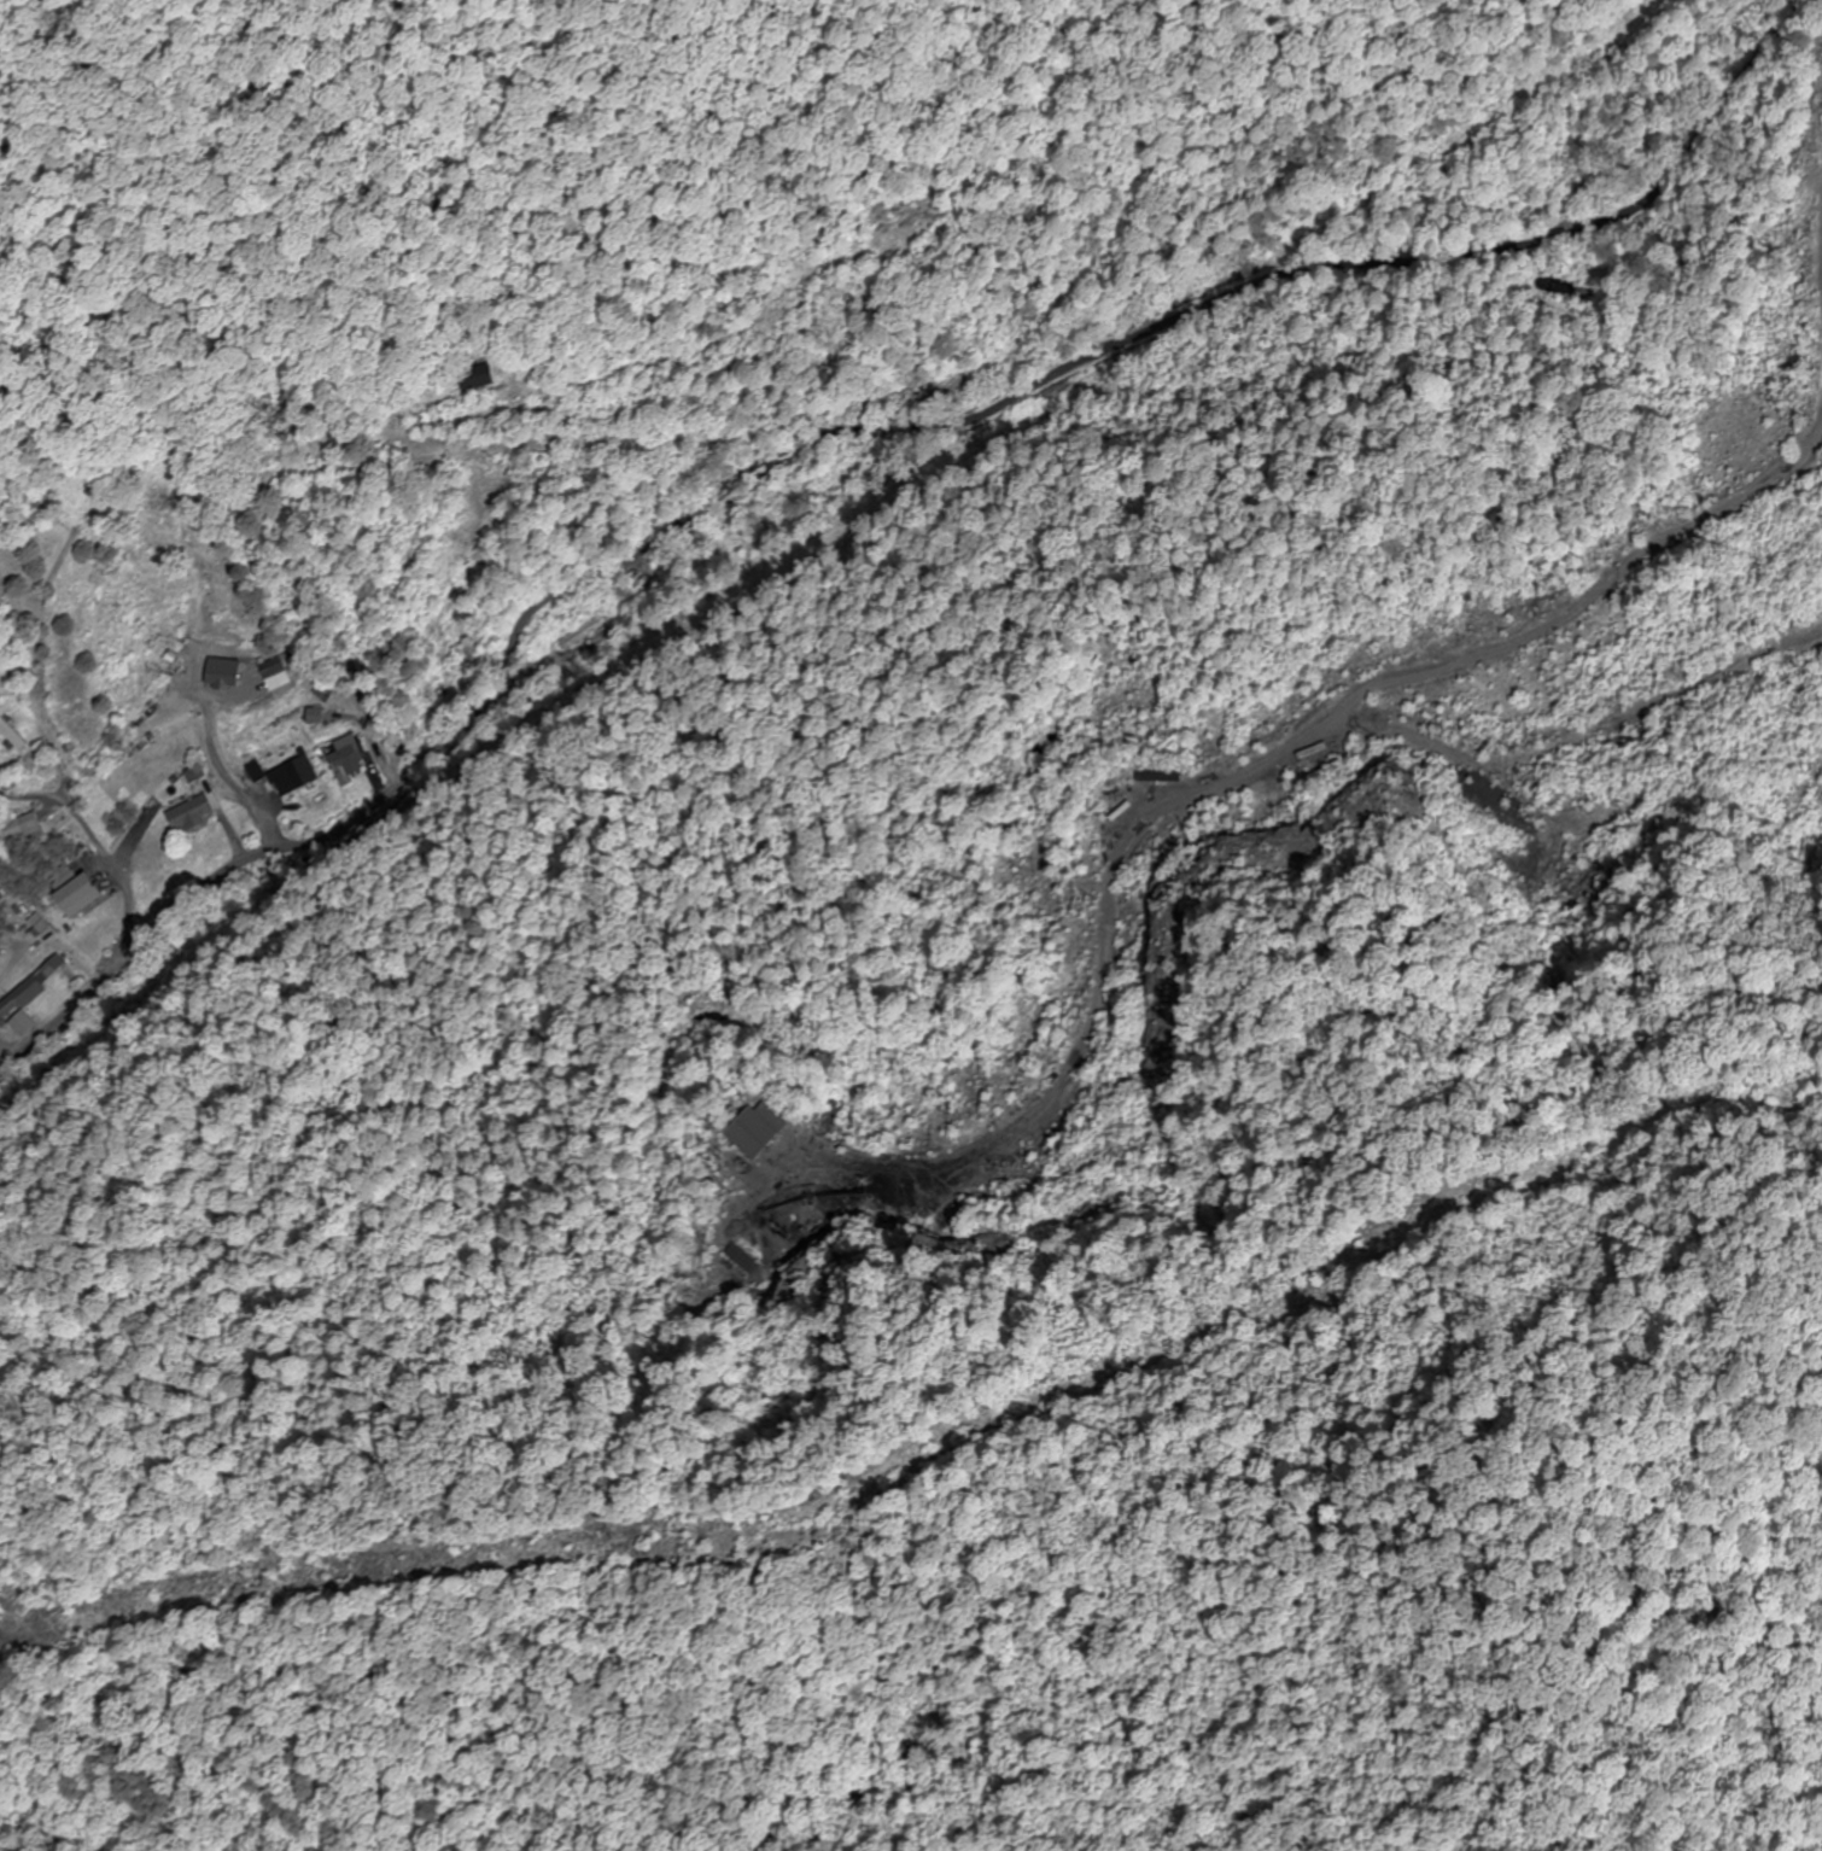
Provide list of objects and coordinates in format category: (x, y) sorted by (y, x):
building: (480, 379)
road: (854, 409)
building: (585, 635)
building: (281, 672)
building: (222, 677)
building: (14, 737)
building: (349, 764)
building: (293, 773)
building: (251, 775)
building: (192, 814)
building: (25, 831)
building: (63, 877)
building: (81, 898)
building: (0, 929)
building: (1, 952)
building: (28, 997)
building: (770, 1127)

